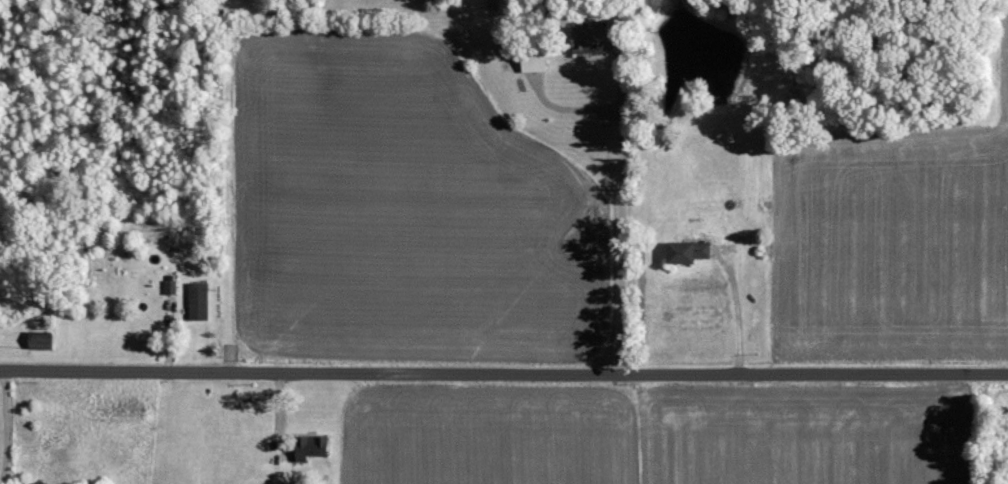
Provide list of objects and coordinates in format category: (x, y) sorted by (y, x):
building: (591, 42)
building: (536, 63)
building: (690, 253)
building: (173, 287)
building: (200, 302)
building: (43, 341)
road: (504, 364)
building: (314, 446)

